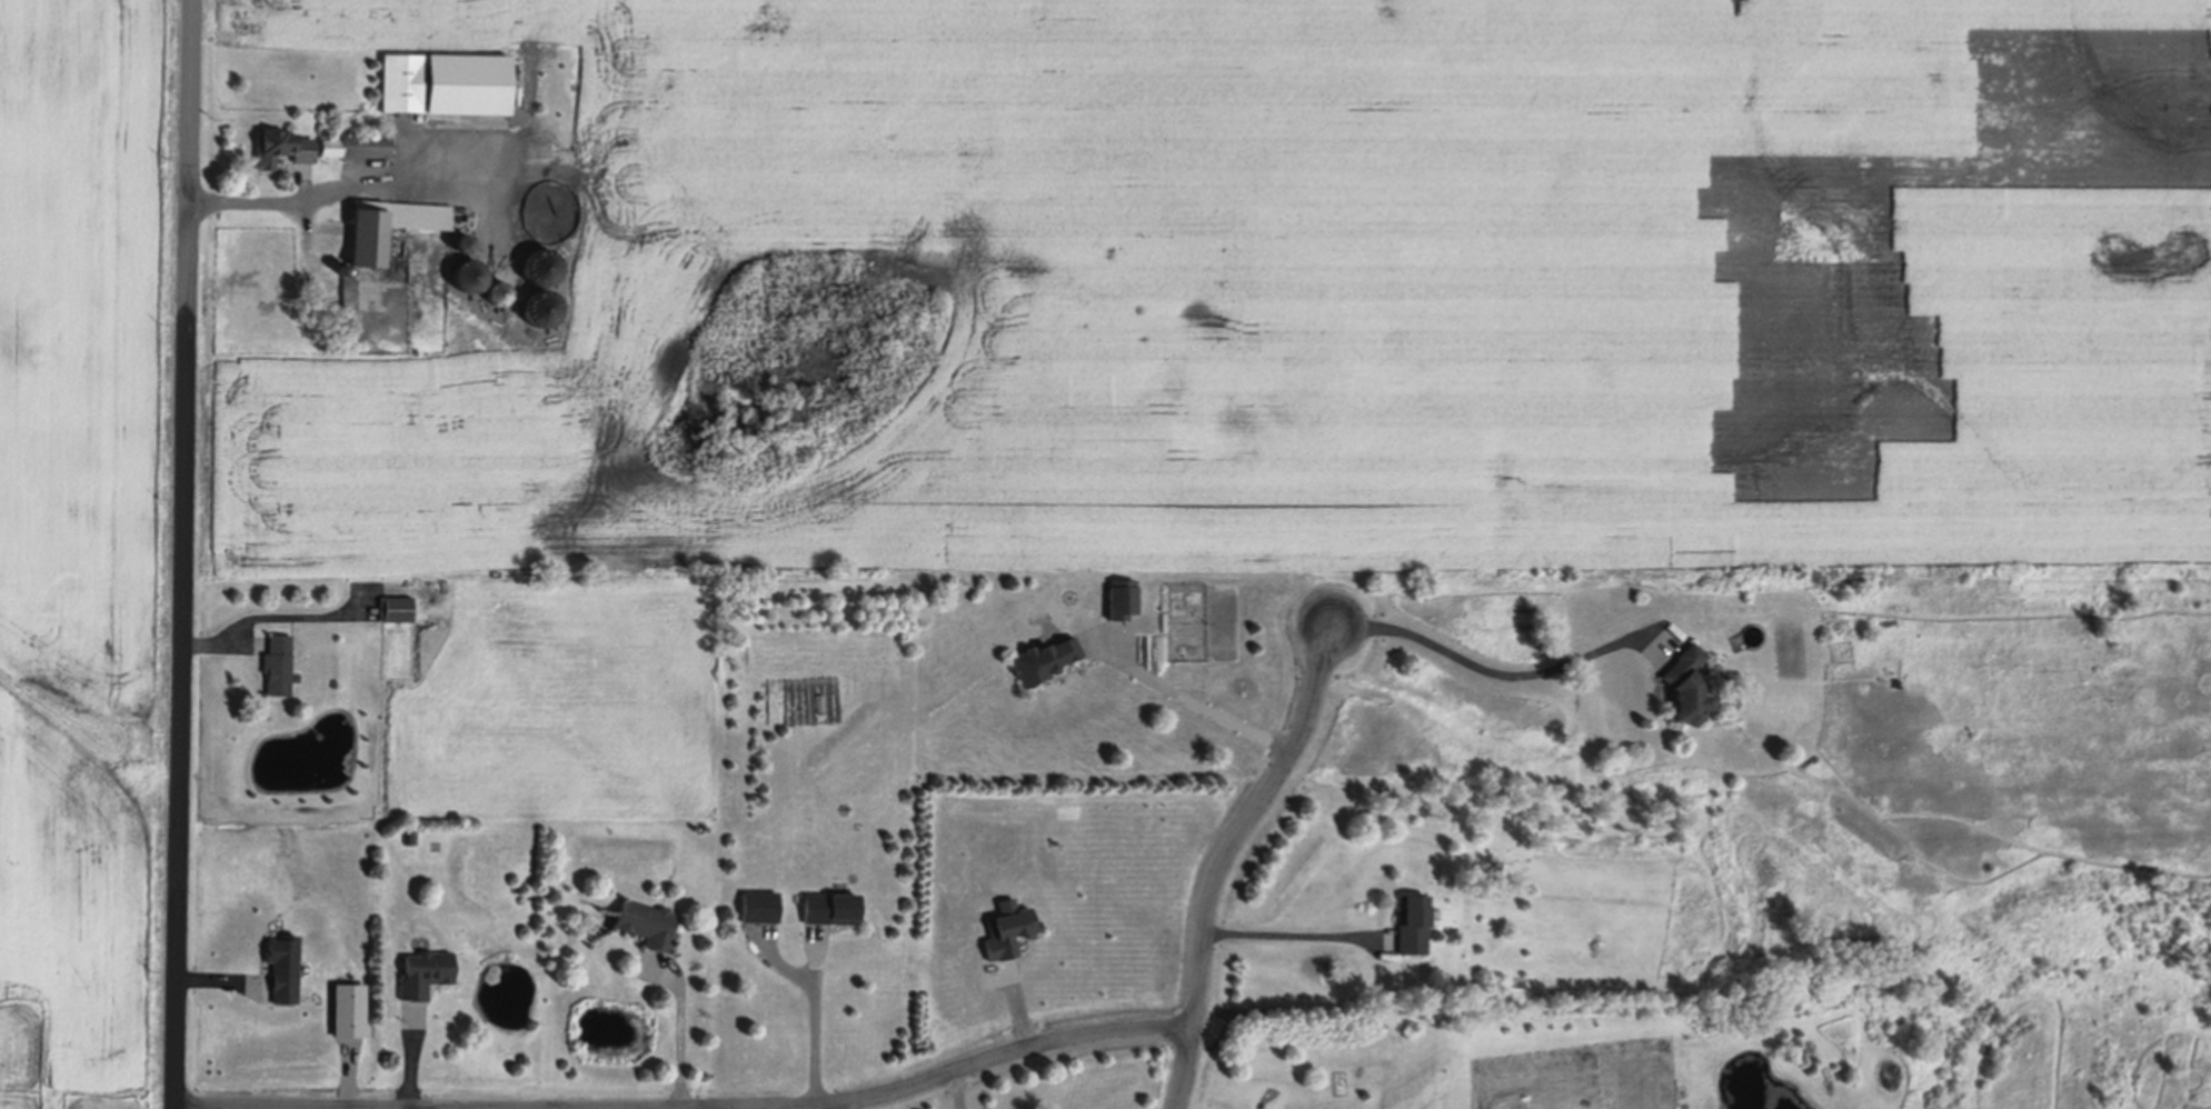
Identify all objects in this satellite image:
building: (446, 88)
building: (358, 148)
building: (281, 152)
road: (341, 184)
building: (389, 230)
building: (472, 276)
building: (497, 292)
road: (183, 554)
building: (1122, 593)
building: (396, 605)
building: (1044, 653)
building: (278, 660)
road: (1484, 660)
building: (1685, 676)
road: (1193, 697)
building: (821, 703)
building: (410, 836)
road: (1227, 858)
building: (759, 902)
building: (831, 902)
building: (1413, 917)
building: (647, 919)
road: (1292, 922)
building: (285, 963)
building: (425, 969)
road: (823, 1027)
road: (688, 1033)
road: (988, 1061)
road: (954, 1091)

